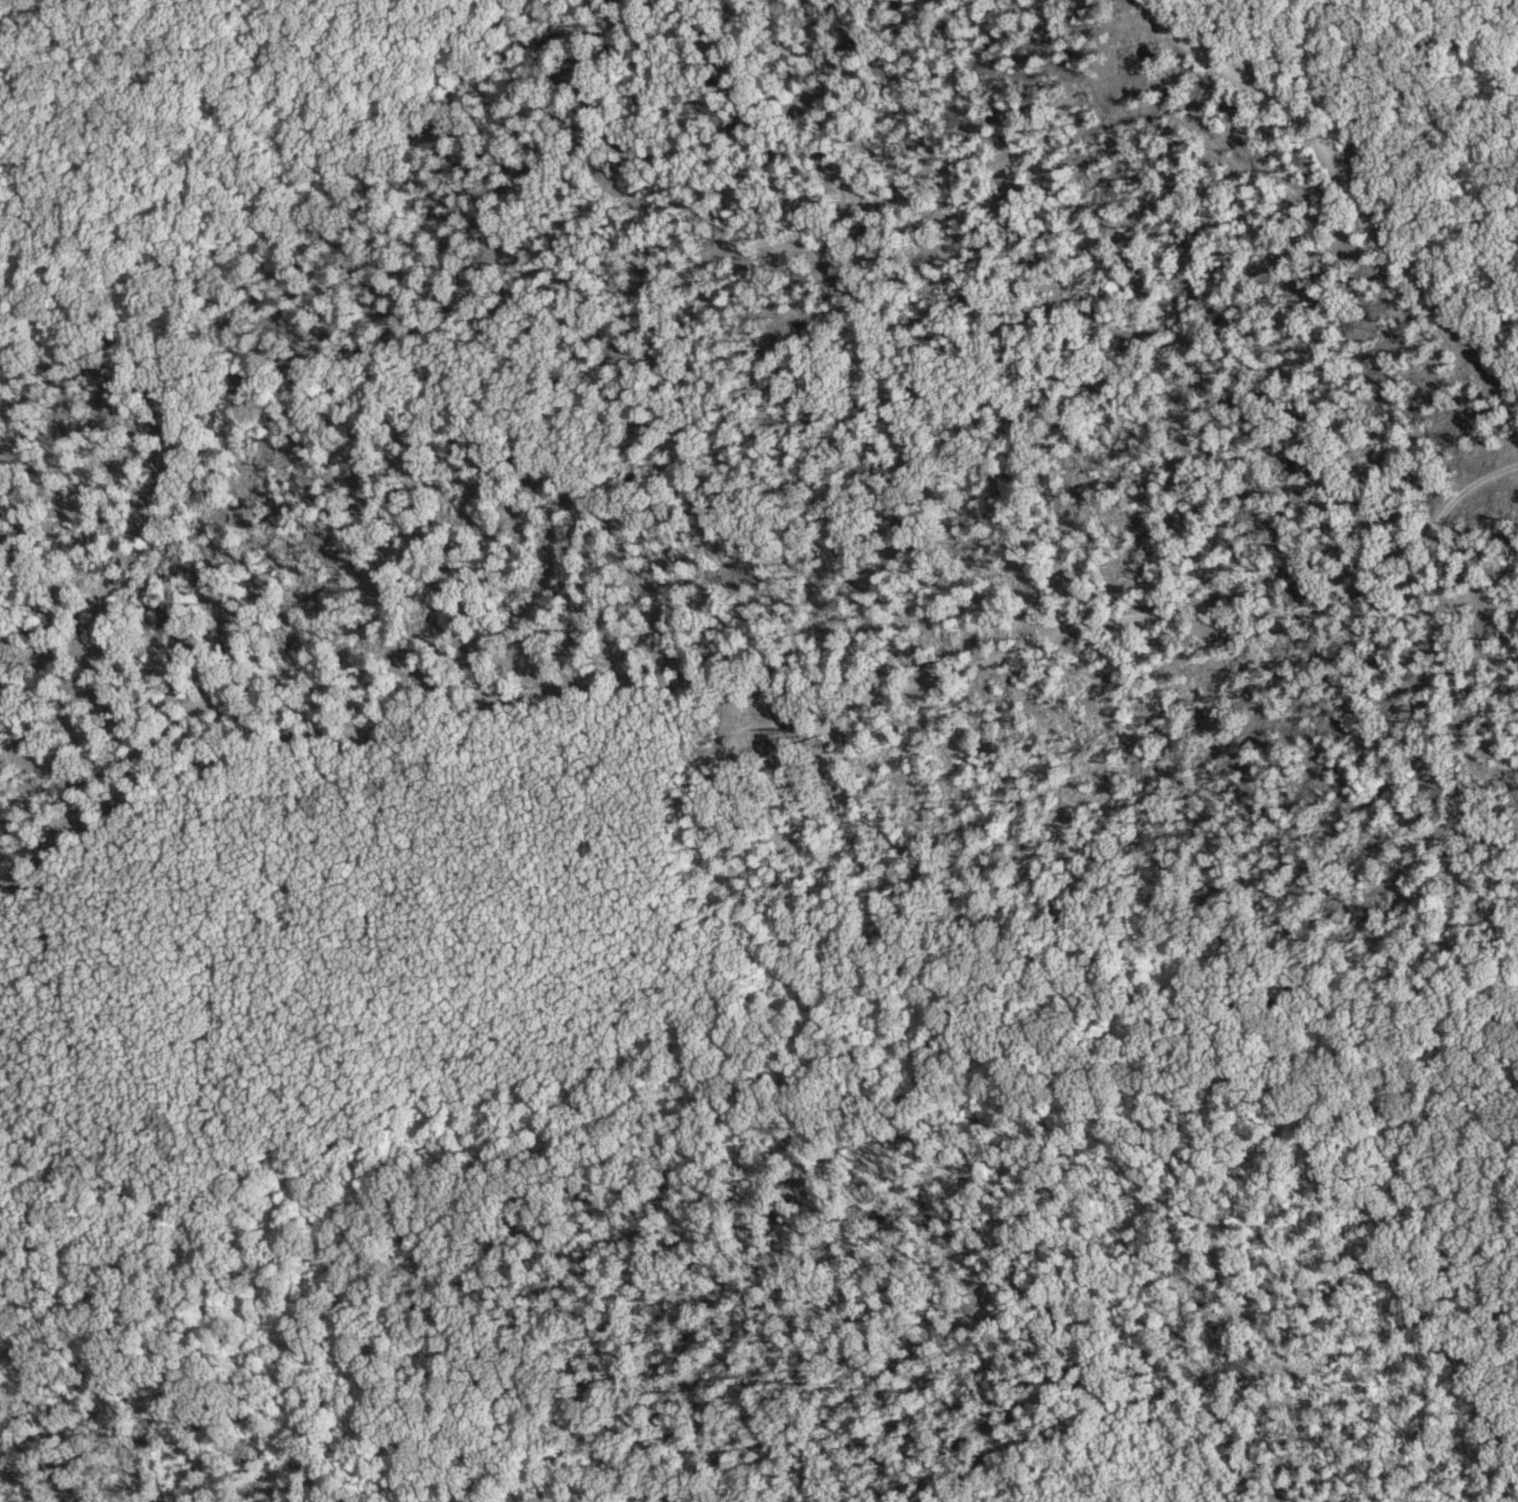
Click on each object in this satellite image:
road: (1357, 192)

